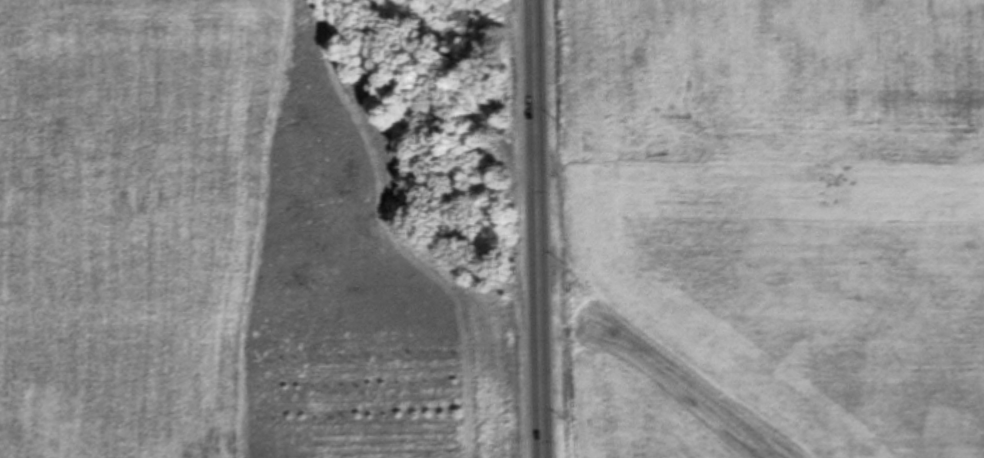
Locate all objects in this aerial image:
road: (541, 228)

